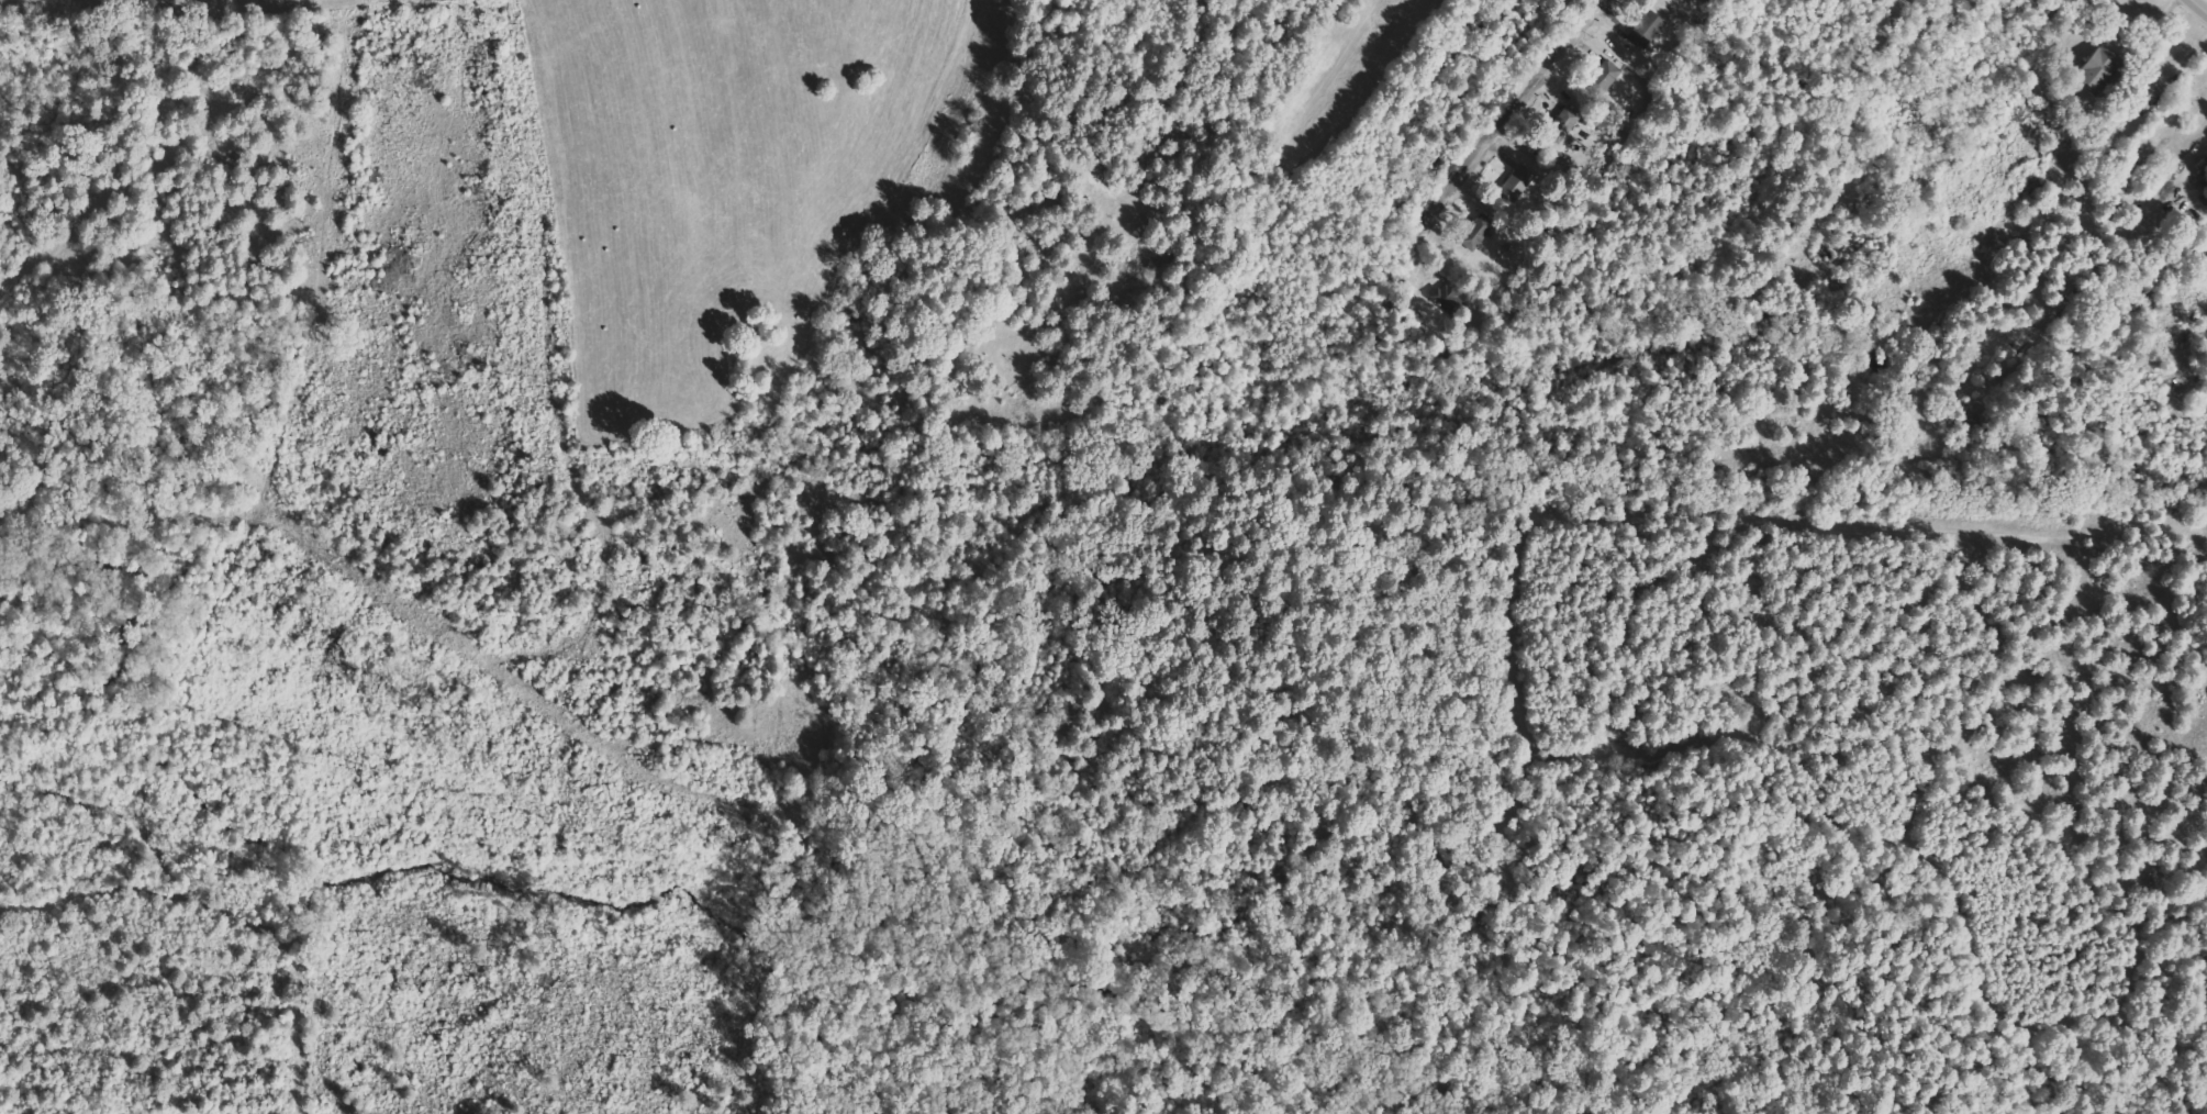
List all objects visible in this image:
building: (1686, 0)
road: (2203, 2)
building: (1648, 30)
building: (2102, 67)
building: (1607, 74)
road: (1537, 94)
building: (2149, 96)
building: (1567, 121)
building: (1519, 182)
building: (1479, 233)
building: (1449, 296)

